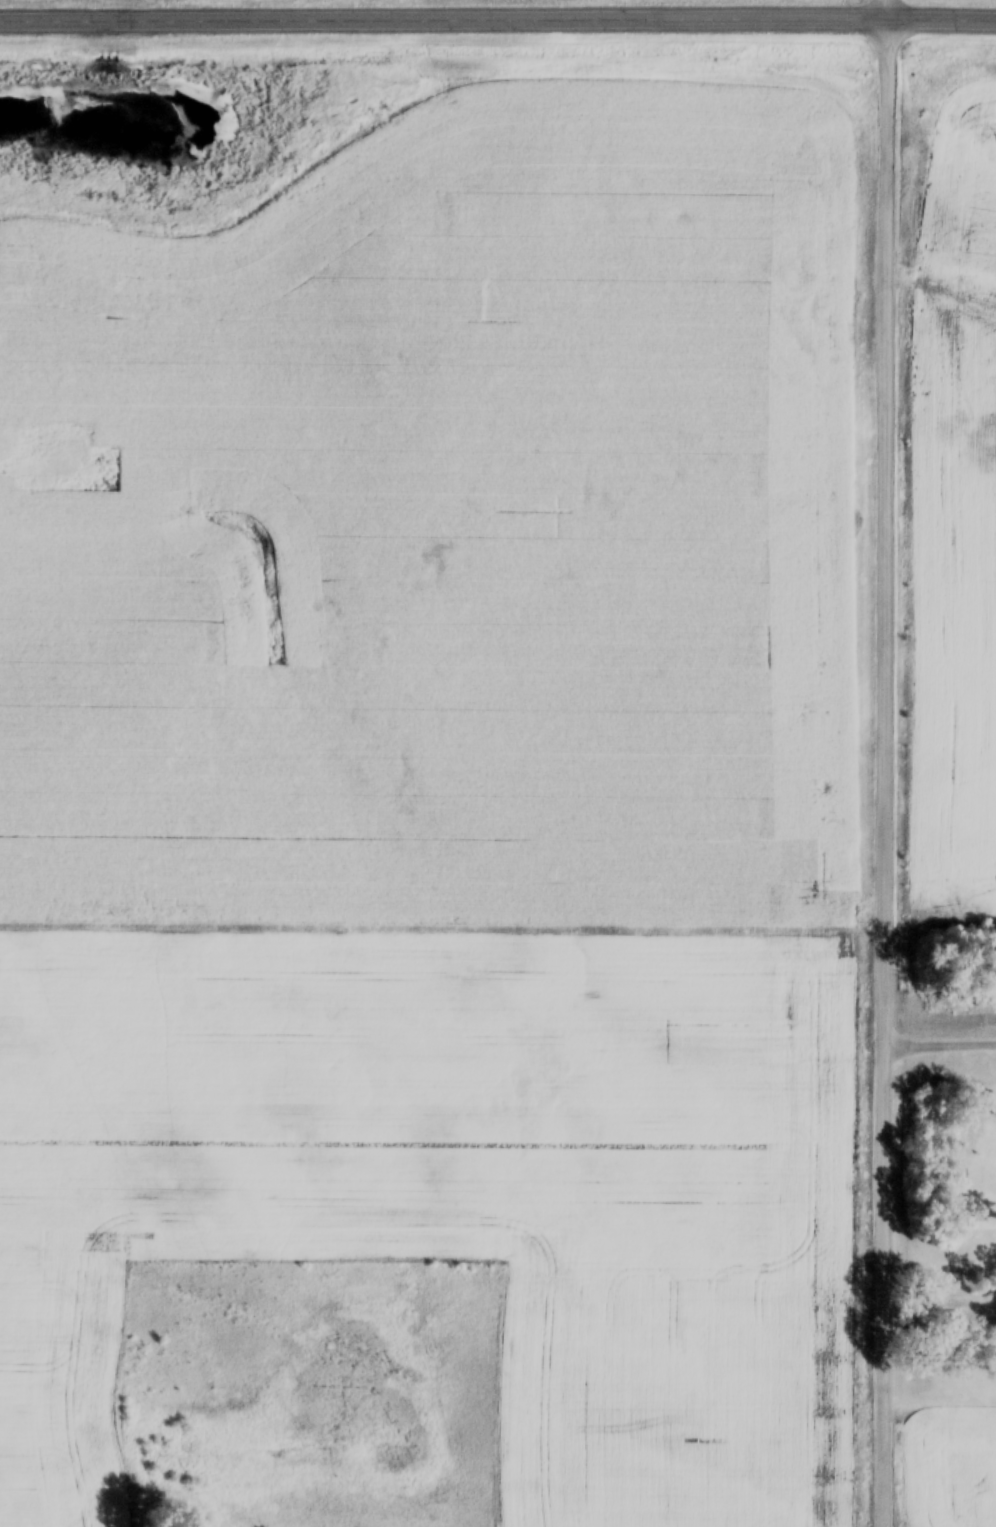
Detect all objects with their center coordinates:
road: (497, 28)
river: (152, 130)
road: (886, 763)
road: (941, 1266)

